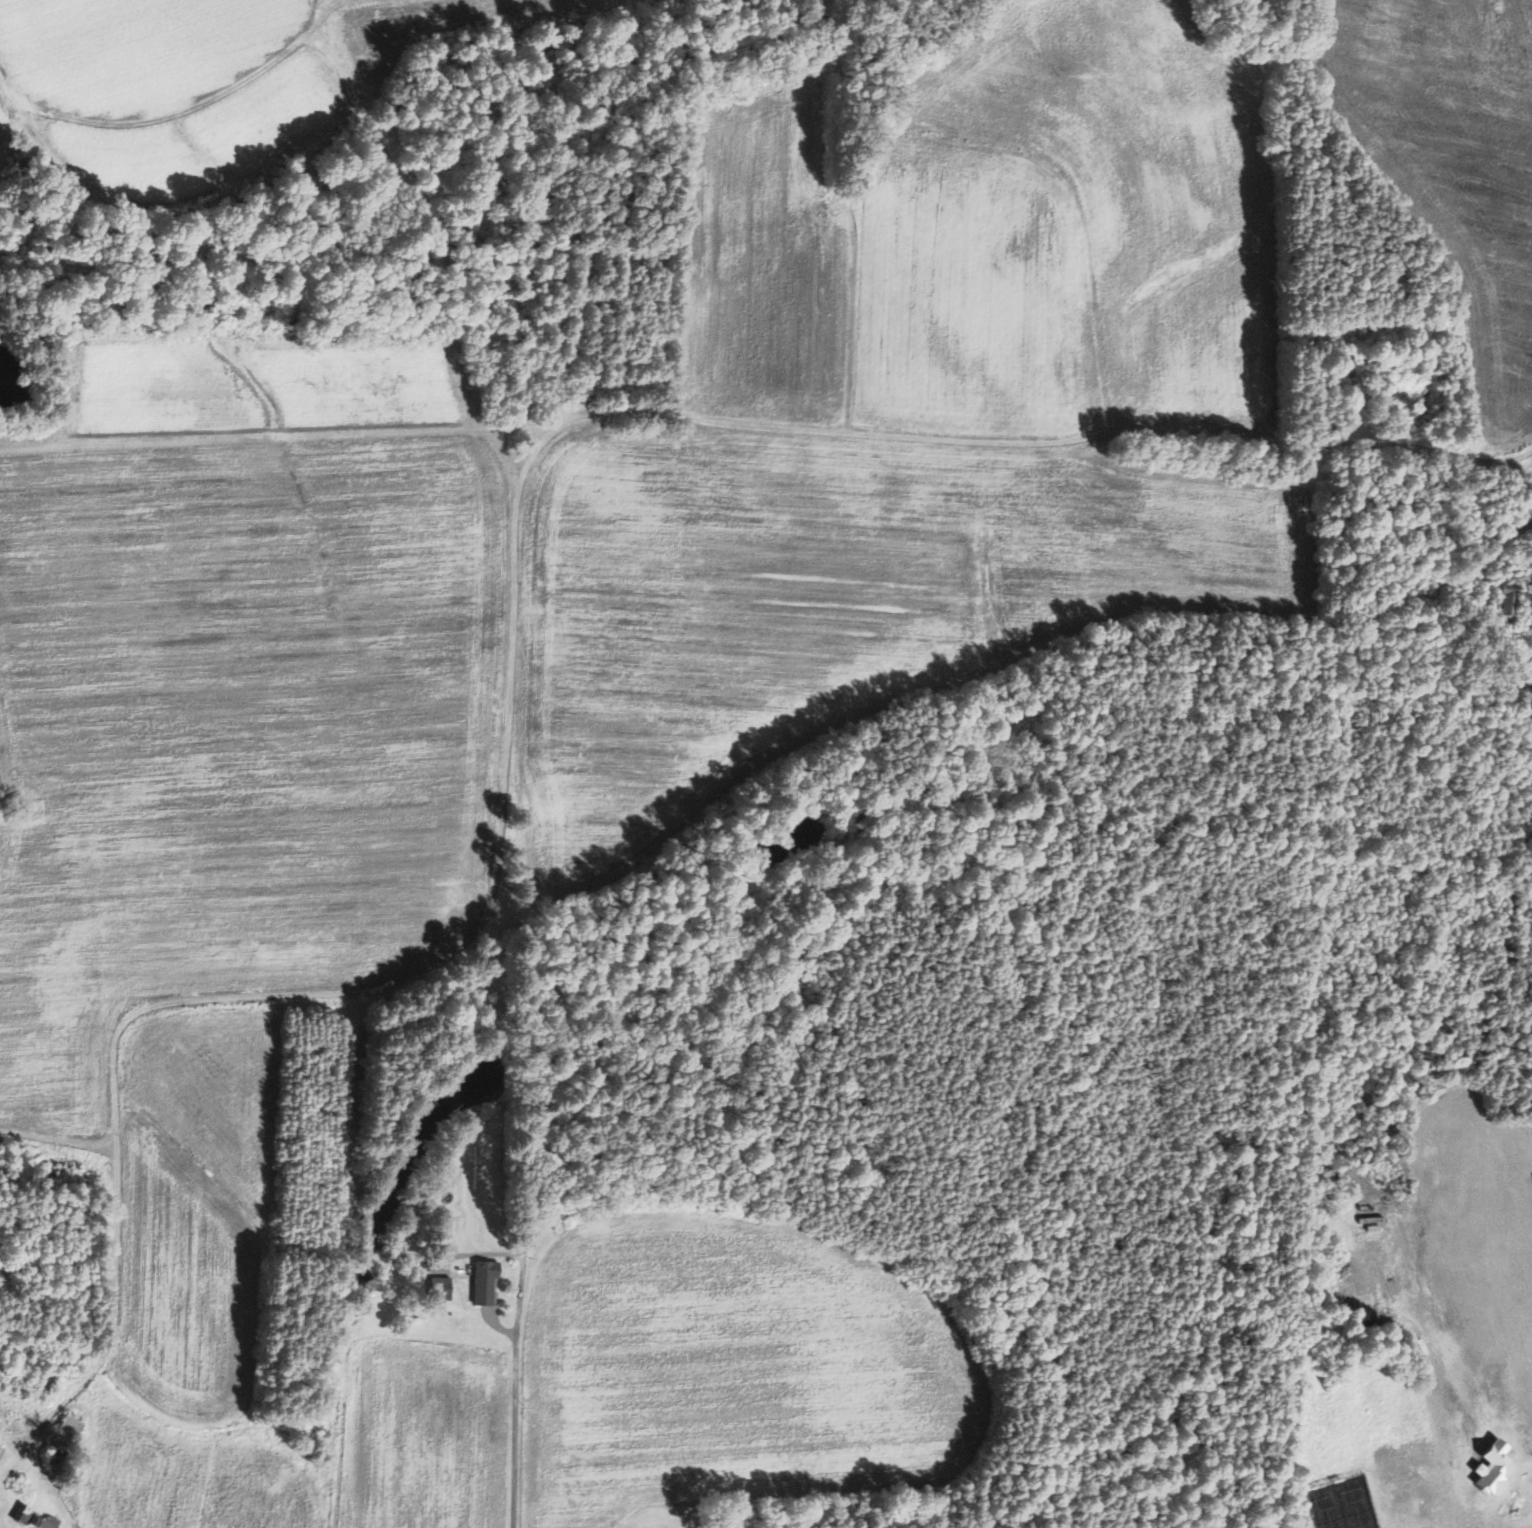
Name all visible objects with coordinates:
road: (159, 116)
road: (548, 434)
building: (1506, 596)
building: (486, 1281)
building: (443, 1287)
road: (514, 1395)
building: (64, 1436)
building: (2, 1451)
park: (1342, 1504)
building: (25, 1513)
building: (46, 1521)

